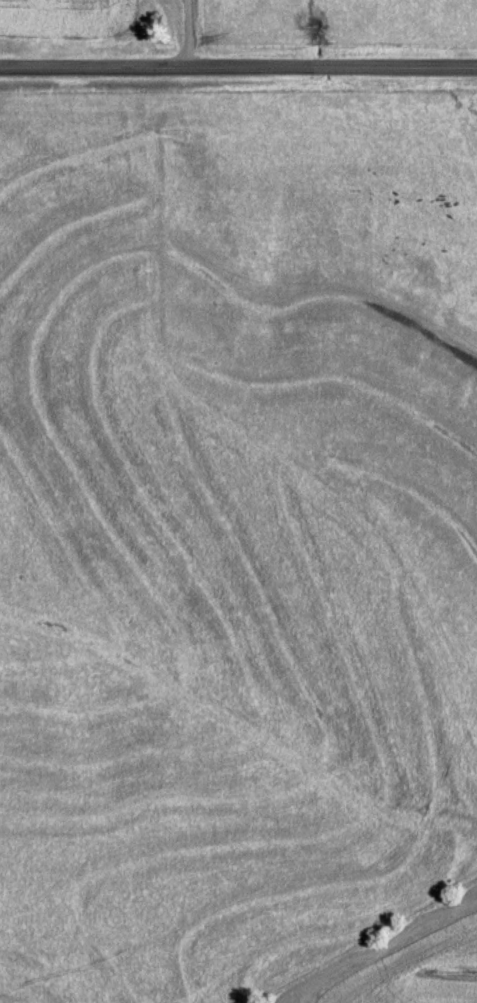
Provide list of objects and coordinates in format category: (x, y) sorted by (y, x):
road: (238, 64)

